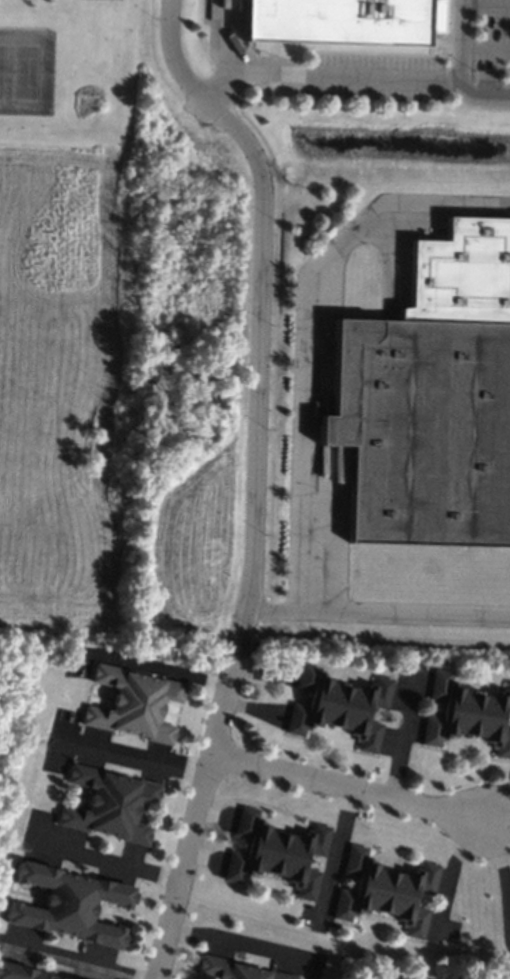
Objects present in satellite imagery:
road: (485, 1)
building: (342, 20)
road: (484, 48)
parking lot: (419, 66)
park: (2, 69)
road: (458, 70)
park: (25, 71)
park: (26, 71)
park: (82, 73)
road: (252, 79)
road: (383, 82)
road: (199, 109)
road: (260, 288)
road: (312, 333)
building: (431, 396)
crop: (95, 429)
road: (379, 615)
road: (151, 669)
park: (9, 680)
building: (133, 703)
building: (338, 706)
building: (465, 713)
road: (405, 730)
road: (135, 755)
road: (351, 789)
road: (202, 794)
road: (501, 802)
building: (109, 804)
road: (501, 819)
road: (501, 825)
building: (272, 852)
road: (334, 854)
road: (105, 860)
road: (450, 871)
road: (501, 872)
building: (385, 890)
building: (67, 904)
road: (241, 944)
road: (72, 962)
building: (232, 970)
building: (20, 972)
building: (389, 976)
building: (70, 978)
building: (423, 978)

